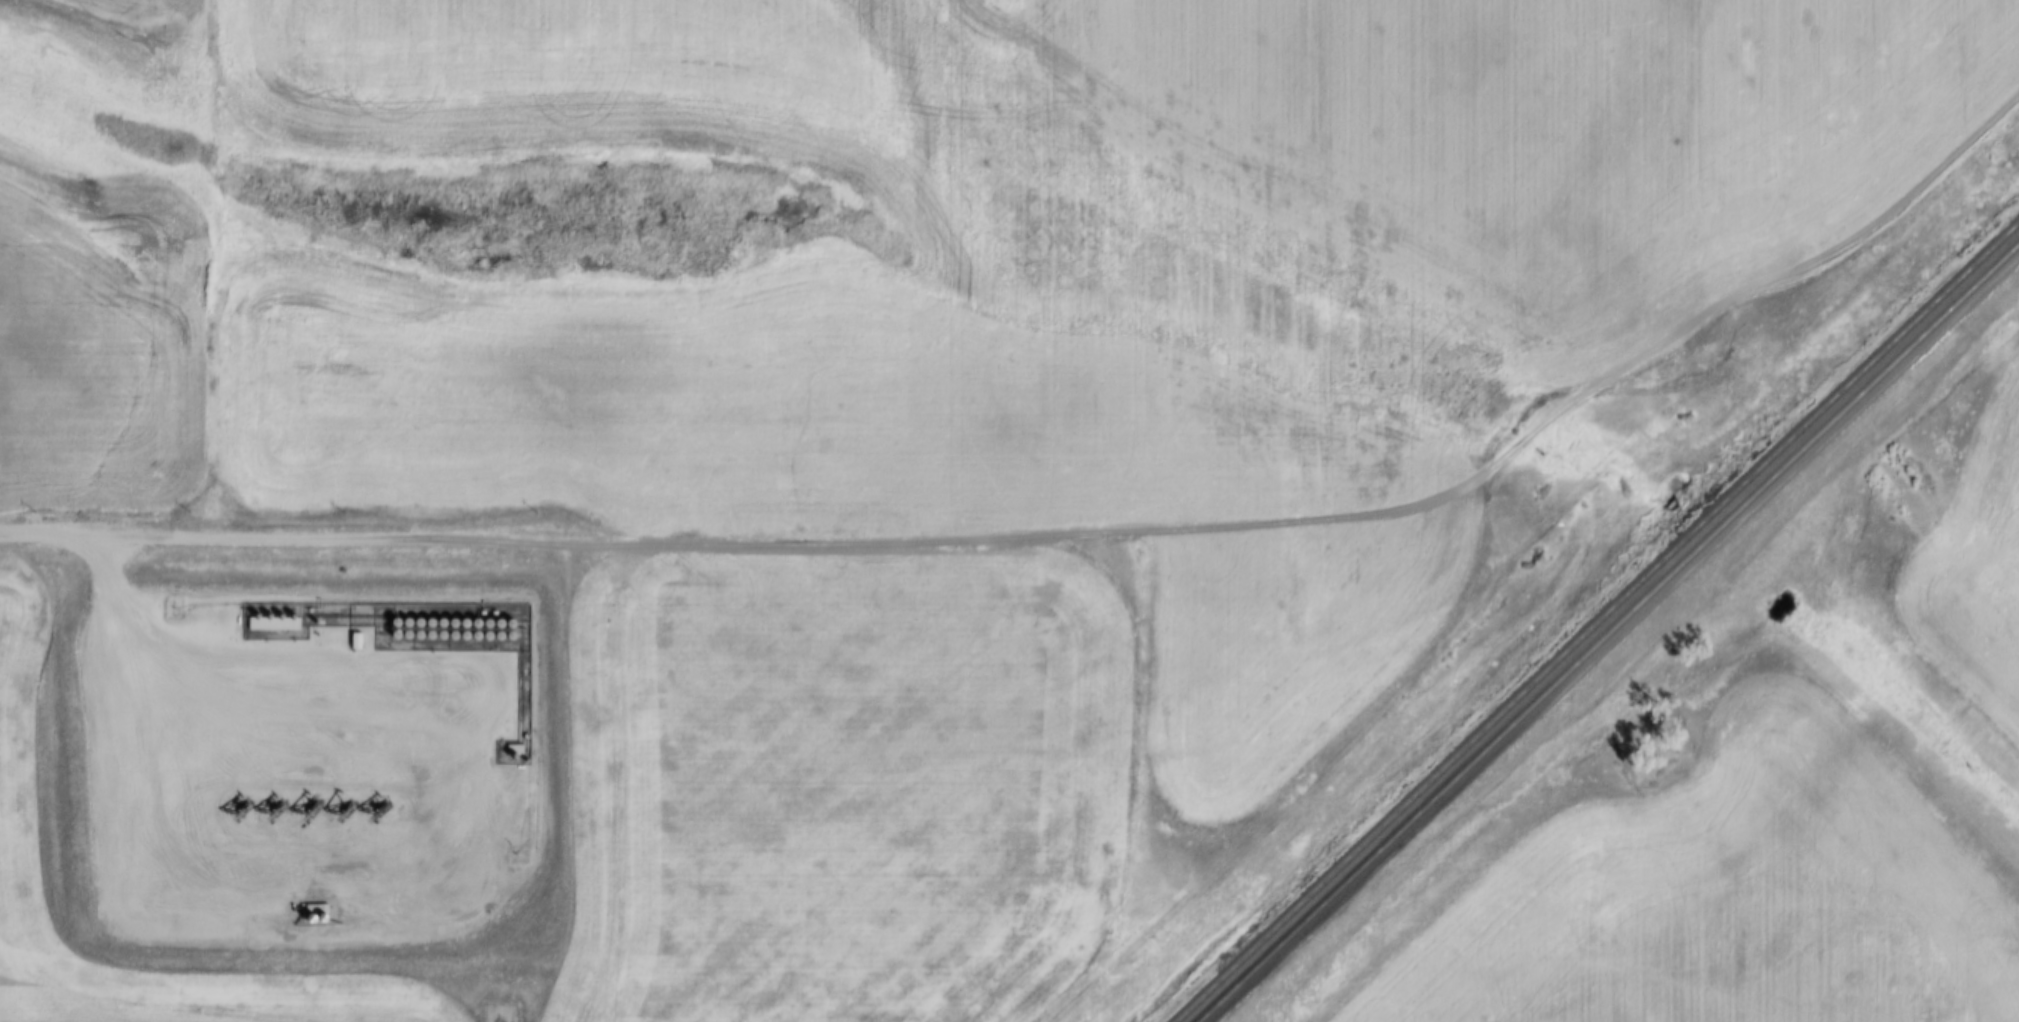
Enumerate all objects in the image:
road: (1730, 370)
road: (734, 535)
road: (43, 547)
railway: (1599, 626)
railway: (1612, 636)

